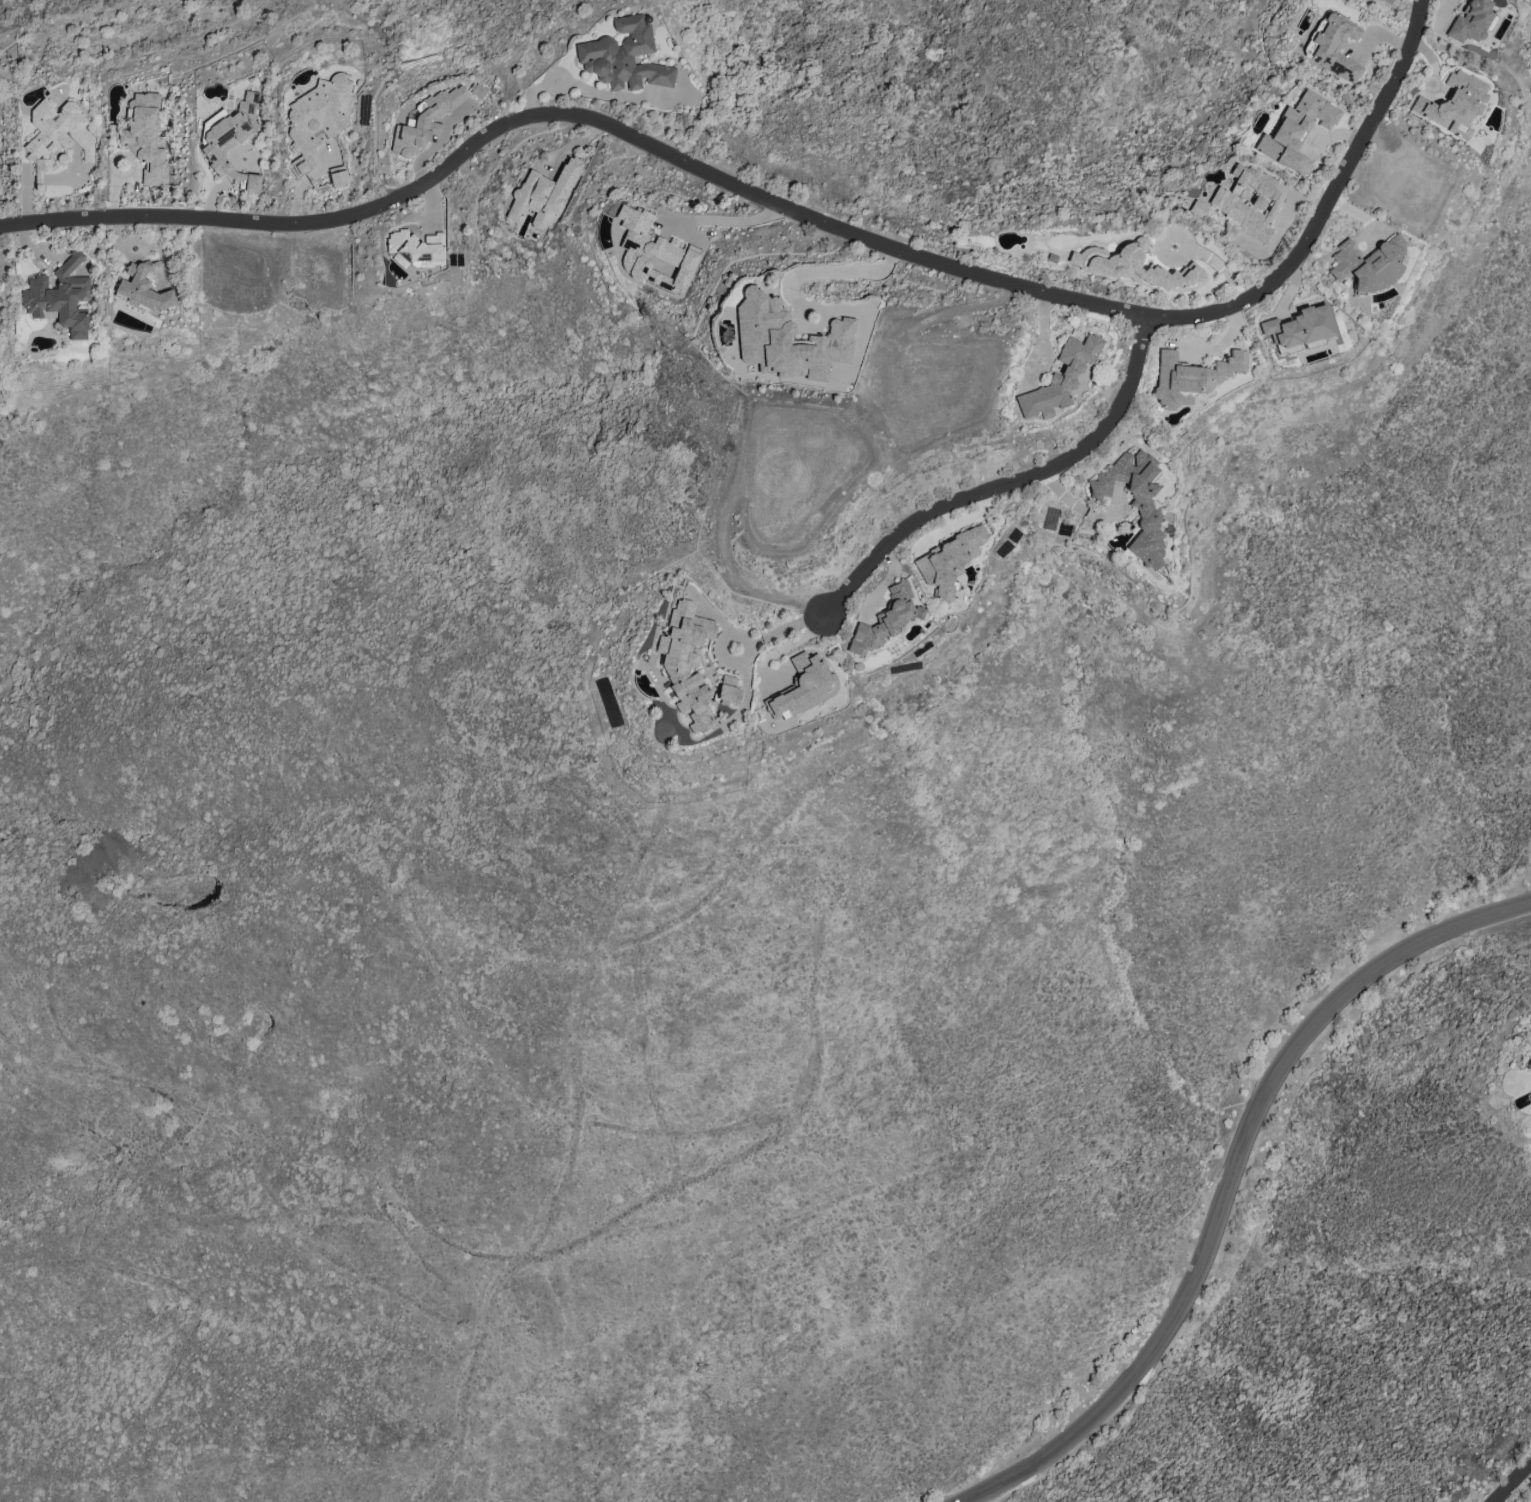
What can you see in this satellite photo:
building: (1471, 21)
building: (1335, 46)
building: (623, 56)
building: (478, 90)
building: (1453, 102)
building: (316, 118)
building: (425, 121)
building: (1296, 131)
building: (57, 133)
building: (145, 136)
building: (232, 140)
building: (339, 178)
building: (543, 195)
building: (1248, 201)
road: (787, 205)
building: (1197, 208)
road: (1188, 248)
building: (415, 249)
building: (653, 253)
building: (1368, 264)
building: (1134, 266)
road: (832, 272)
building: (143, 288)
building: (60, 297)
building: (1299, 328)
building: (787, 340)
building: (1191, 376)
building: (1060, 378)
road: (1016, 481)
building: (1136, 503)
building: (949, 560)
building: (885, 620)
road: (782, 628)
building: (686, 661)
building: (803, 687)
building: (729, 690)
road: (1233, 1183)
road: (1513, 1483)

